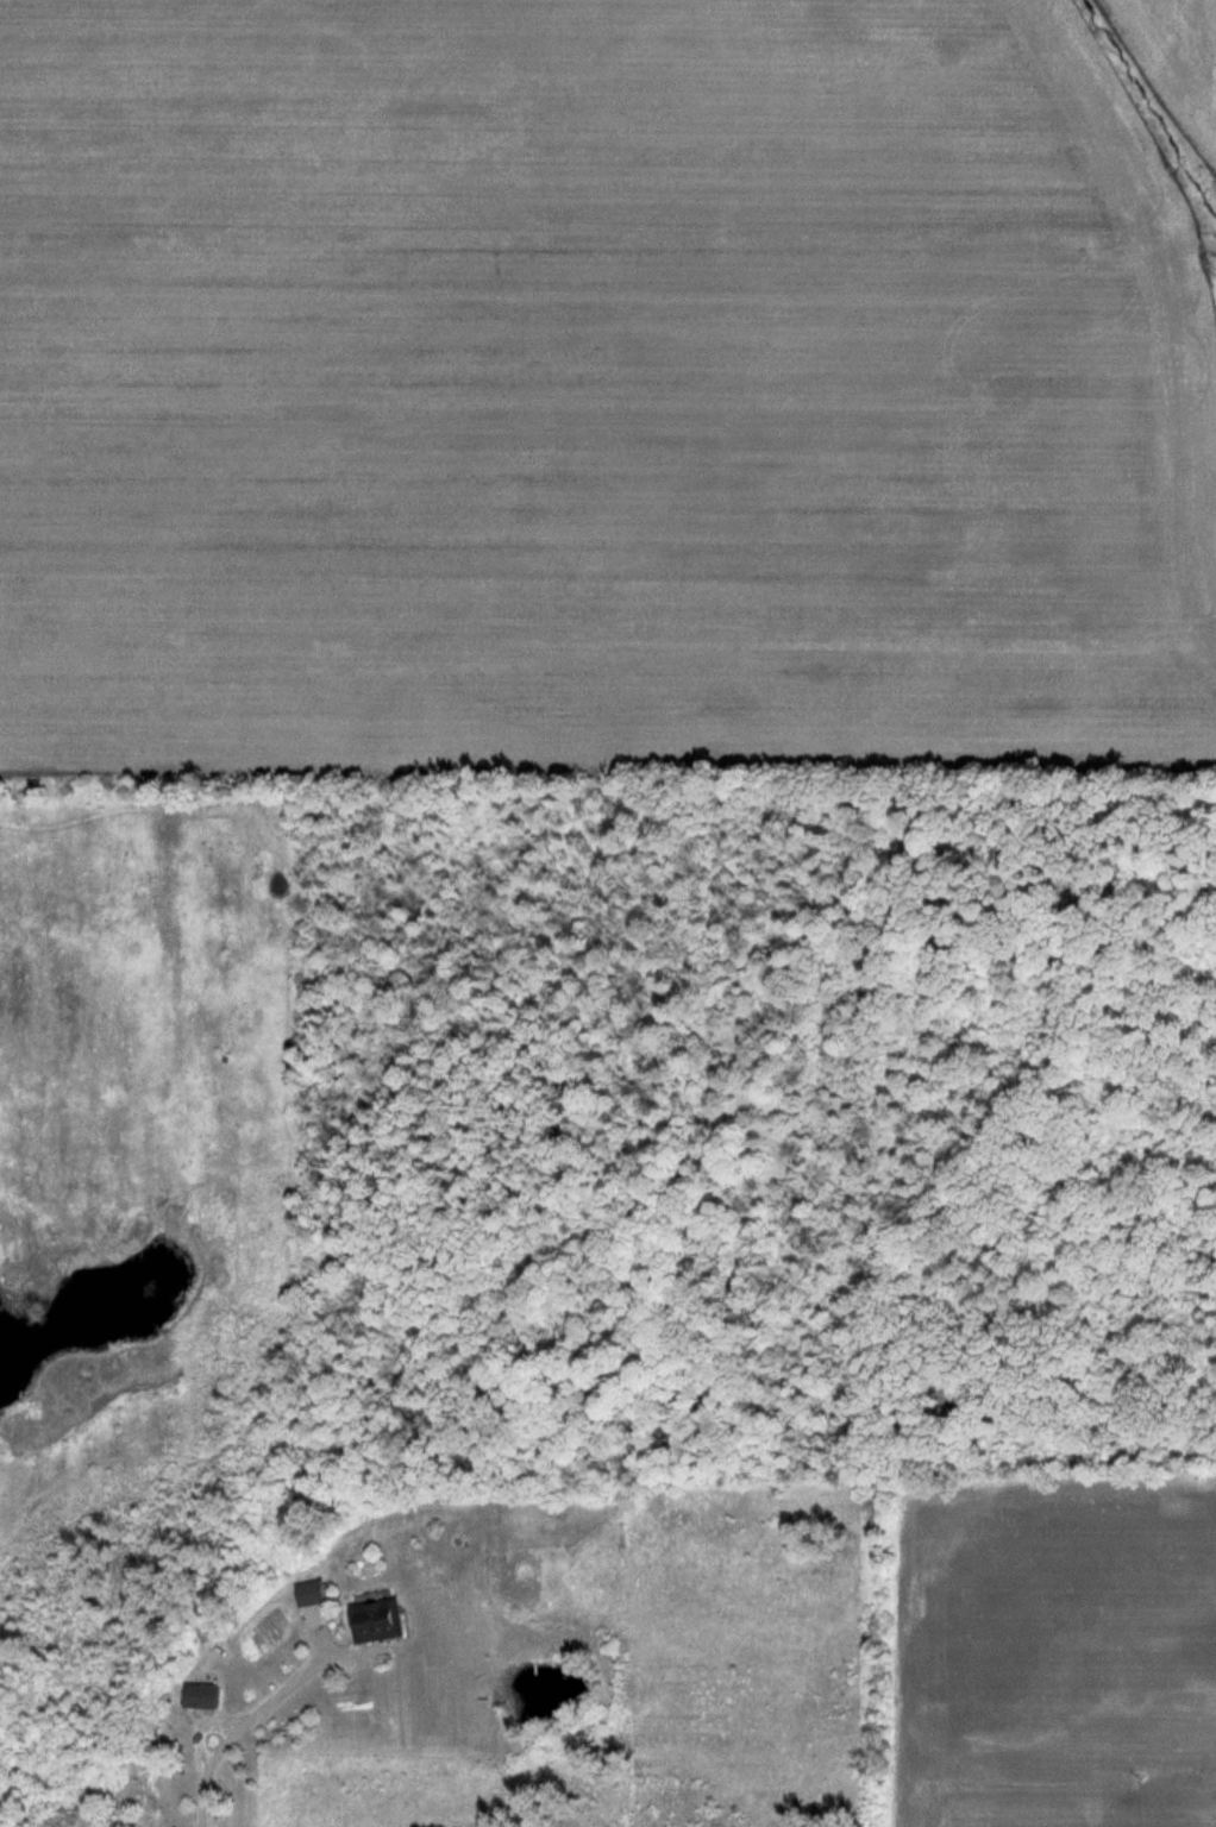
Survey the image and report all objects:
building: (631, 1498)
building: (312, 1593)
building: (381, 1620)
building: (205, 1696)
road: (236, 1726)

